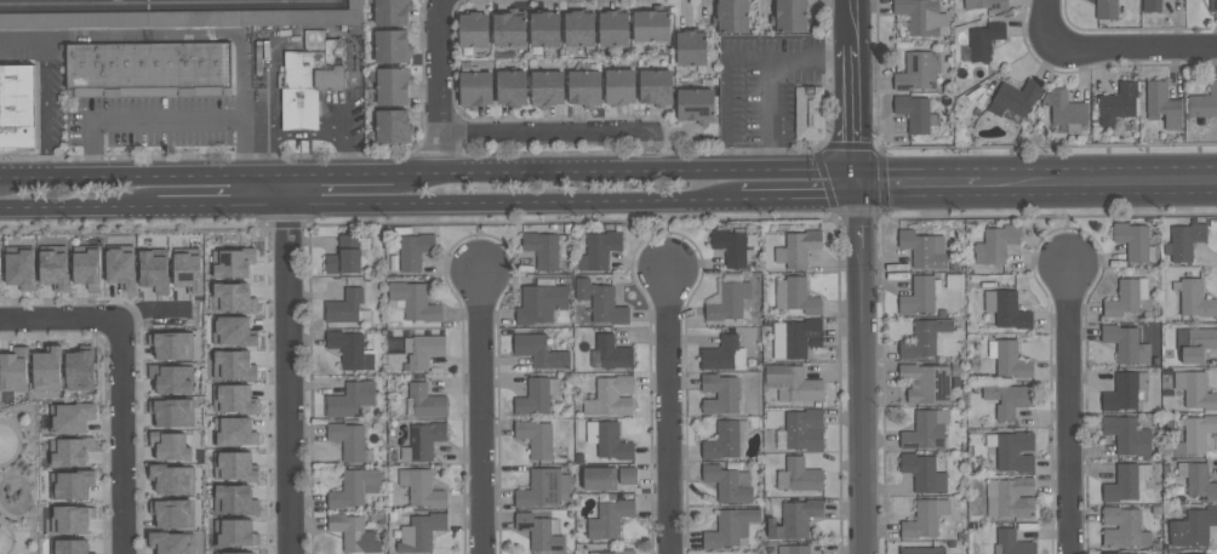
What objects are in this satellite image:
road: (166, 2)
building: (984, 4)
building: (1152, 6)
building: (1107, 8)
building: (390, 12)
building: (732, 16)
building: (789, 16)
building: (921, 16)
building: (184, 17)
building: (651, 25)
building: (579, 28)
building: (613, 28)
building: (473, 29)
building: (509, 29)
building: (545, 29)
road: (211, 36)
road: (24, 40)
building: (984, 40)
building: (390, 46)
building: (691, 47)
road: (1108, 48)
building: (148, 69)
building: (919, 72)
road: (764, 73)
building: (309, 78)
road: (440, 85)
building: (392, 86)
building: (619, 86)
building: (512, 87)
building: (547, 87)
building: (584, 87)
building: (656, 87)
building: (475, 88)
road: (47, 96)
building: (1013, 101)
building: (1204, 102)
building: (1119, 103)
building: (1162, 104)
building: (17, 105)
building: (695, 105)
building: (1067, 108)
building: (809, 113)
building: (916, 113)
road: (141, 122)
road: (299, 124)
building: (393, 126)
road: (544, 136)
road: (252, 138)
road: (344, 141)
road: (262, 143)
road: (651, 153)
road: (46, 165)
road: (564, 170)
road: (341, 173)
road: (143, 175)
road: (796, 179)
road: (919, 179)
road: (1098, 179)
traffic signals: (859, 181)
road: (514, 200)
road: (222, 204)
road: (78, 206)
building: (1133, 240)
building: (1184, 240)
building: (995, 242)
building: (730, 246)
building: (796, 247)
building: (542, 249)
building: (599, 249)
building: (922, 249)
building: (413, 250)
building: (344, 255)
building: (0, 259)
building: (232, 262)
building: (86, 265)
building: (18, 267)
building: (120, 267)
building: (53, 269)
building: (153, 270)
building: (188, 270)
road: (859, 276)
building: (795, 295)
building: (920, 295)
building: (1125, 296)
building: (232, 297)
building: (1194, 298)
building: (729, 299)
building: (412, 301)
building: (600, 301)
building: (541, 302)
building: (344, 307)
building: (1006, 308)
road: (144, 309)
building: (232, 331)
building: (794, 337)
building: (929, 338)
building: (1195, 342)
building: (171, 343)
building: (1126, 343)
building: (350, 349)
building: (422, 349)
building: (539, 350)
building: (610, 352)
building: (722, 353)
building: (1006, 359)
building: (233, 364)
road: (288, 364)
building: (13, 369)
building: (79, 370)
building: (46, 371)
road: (120, 378)
building: (170, 378)
building: (792, 382)
building: (925, 382)
building: (1194, 389)
building: (1124, 390)
building: (720, 393)
building: (536, 395)
building: (611, 395)
building: (233, 398)
building: (1007, 398)
building: (349, 399)
building: (425, 400)
road: (1069, 409)
building: (171, 411)
road: (482, 412)
road: (669, 413)
building: (69, 416)
building: (804, 429)
building: (925, 429)
building: (234, 430)
building: (1126, 434)
building: (1196, 435)
building: (536, 438)
building: (348, 439)
building: (422, 440)
building: (726, 440)
road: (6, 441)
road: (17, 441)
building: (612, 441)
building: (170, 445)
building: (69, 450)
building: (1012, 450)
building: (22, 463)
building: (233, 464)
road: (16, 470)
building: (922, 472)
road: (1, 475)
street lamp: (4, 475)
building: (799, 475)
building: (607, 476)
building: (172, 478)
park: (18, 479)
building: (1126, 481)
building: (1199, 481)
building: (729, 482)
building: (70, 484)
building: (543, 486)
building: (354, 487)
building: (421, 487)
building: (1010, 497)
building: (234, 498)
building: (172, 513)
road: (7, 514)
building: (70, 518)
building: (608, 518)
building: (925, 518)
building: (793, 519)
building: (730, 526)
building: (1192, 526)
building: (1122, 527)
building: (234, 531)
building: (419, 531)
building: (539, 531)
building: (353, 532)
road: (12, 536)
street lamp: (16, 541)
building: (171, 542)
building: (1011, 542)
building: (69, 547)
building: (794, 549)
building: (921, 550)
building: (233, 552)
building: (604, 552)
building: (1115, 553)
building: (1184, 553)

